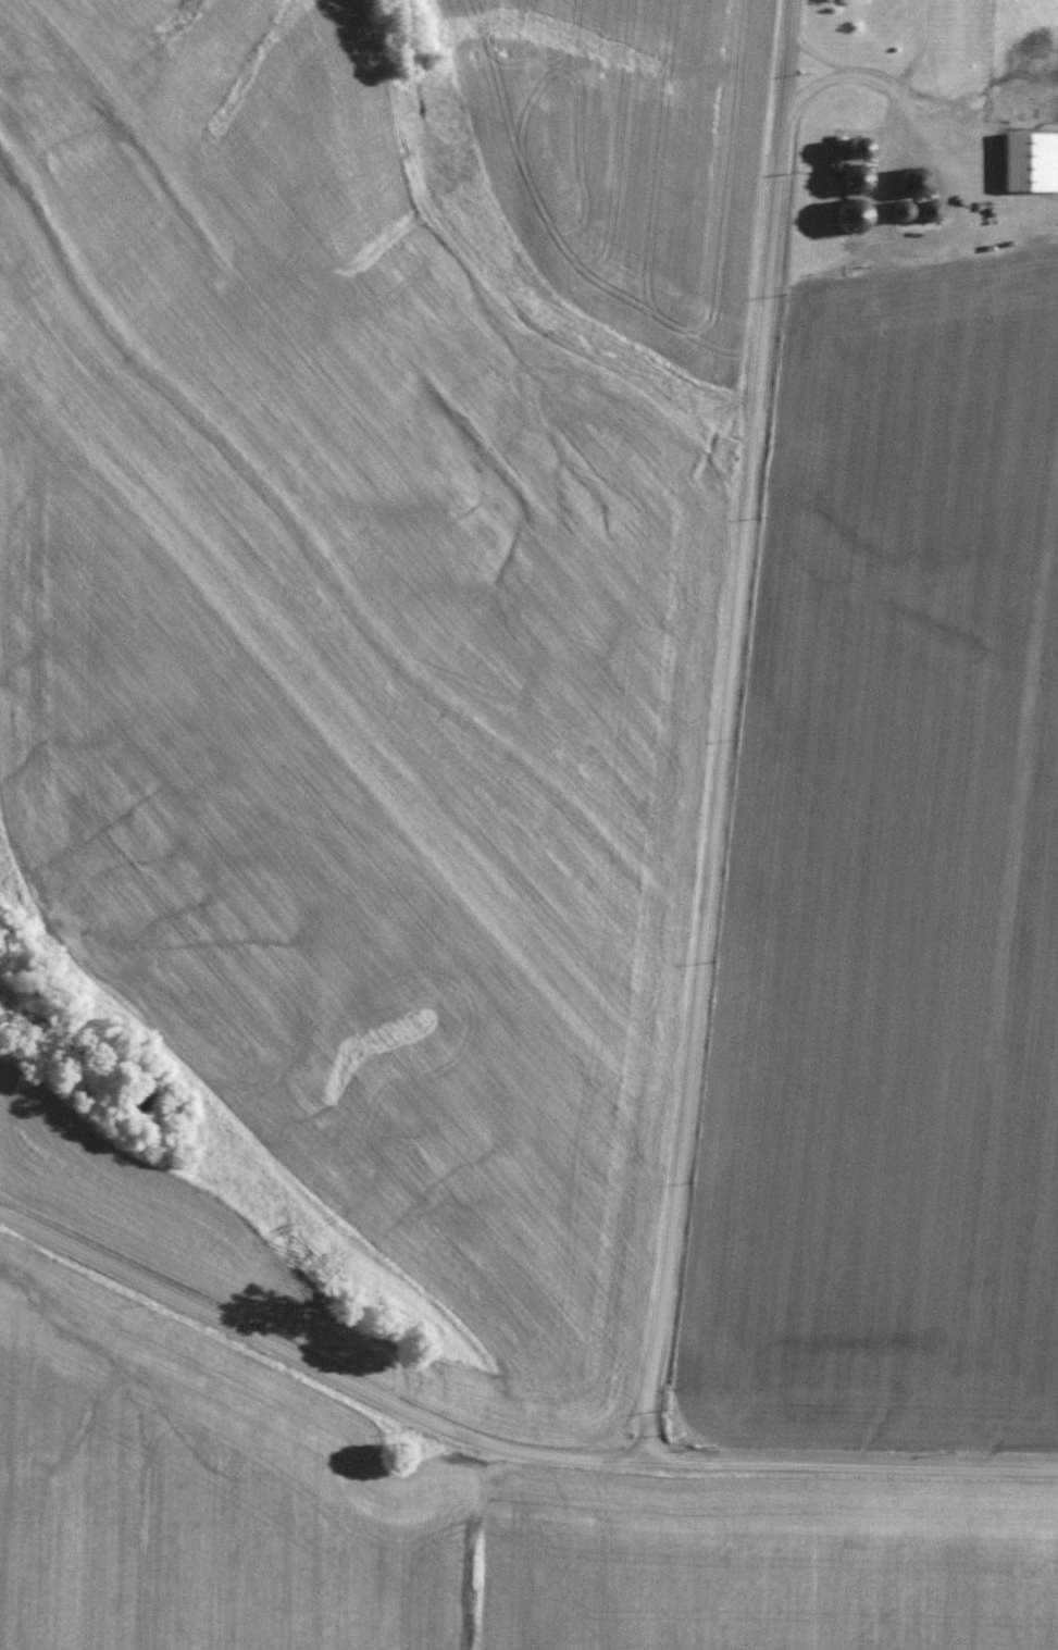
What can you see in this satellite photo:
road: (917, 50)
road: (845, 75)
road: (919, 123)
building: (1032, 162)
road: (726, 731)
road: (502, 1451)

